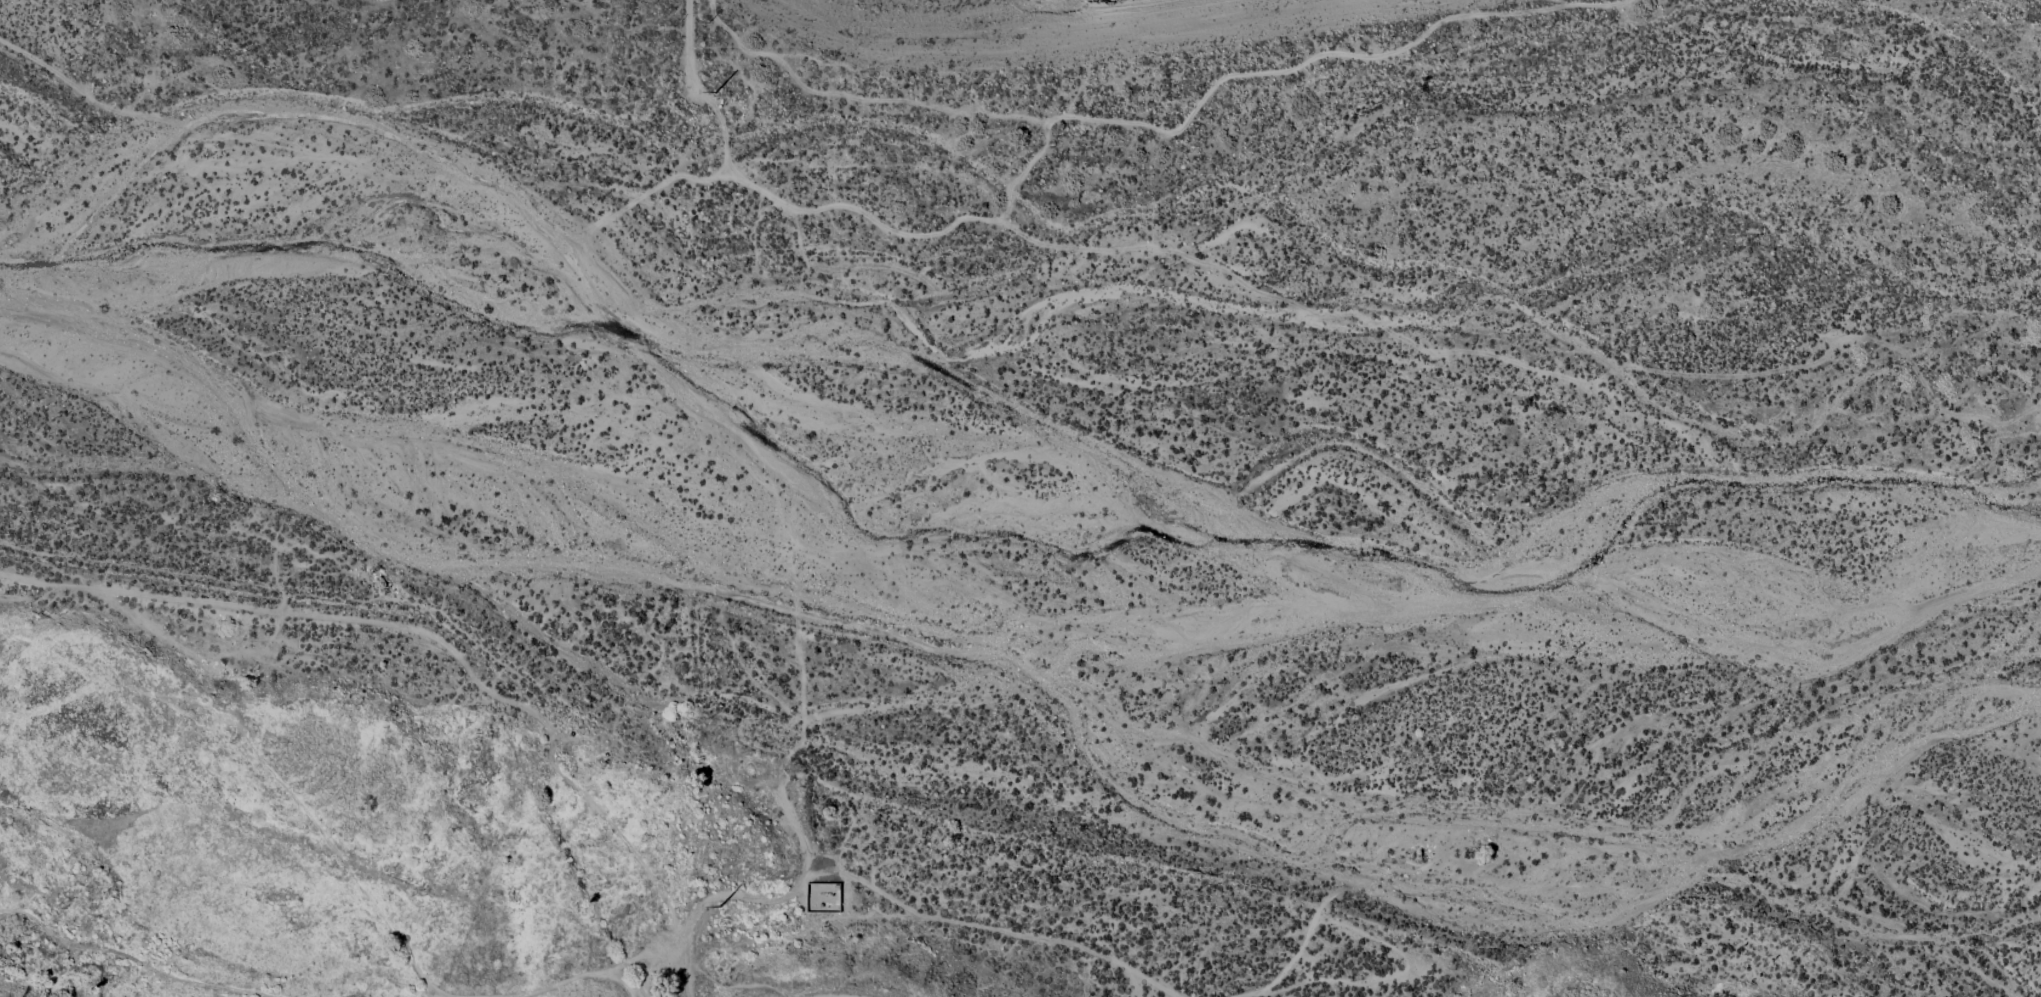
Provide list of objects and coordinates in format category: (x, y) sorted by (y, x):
road: (1609, 5)
quarry: (1051, 23)
road: (1084, 126)
river: (978, 461)
building: (833, 888)

